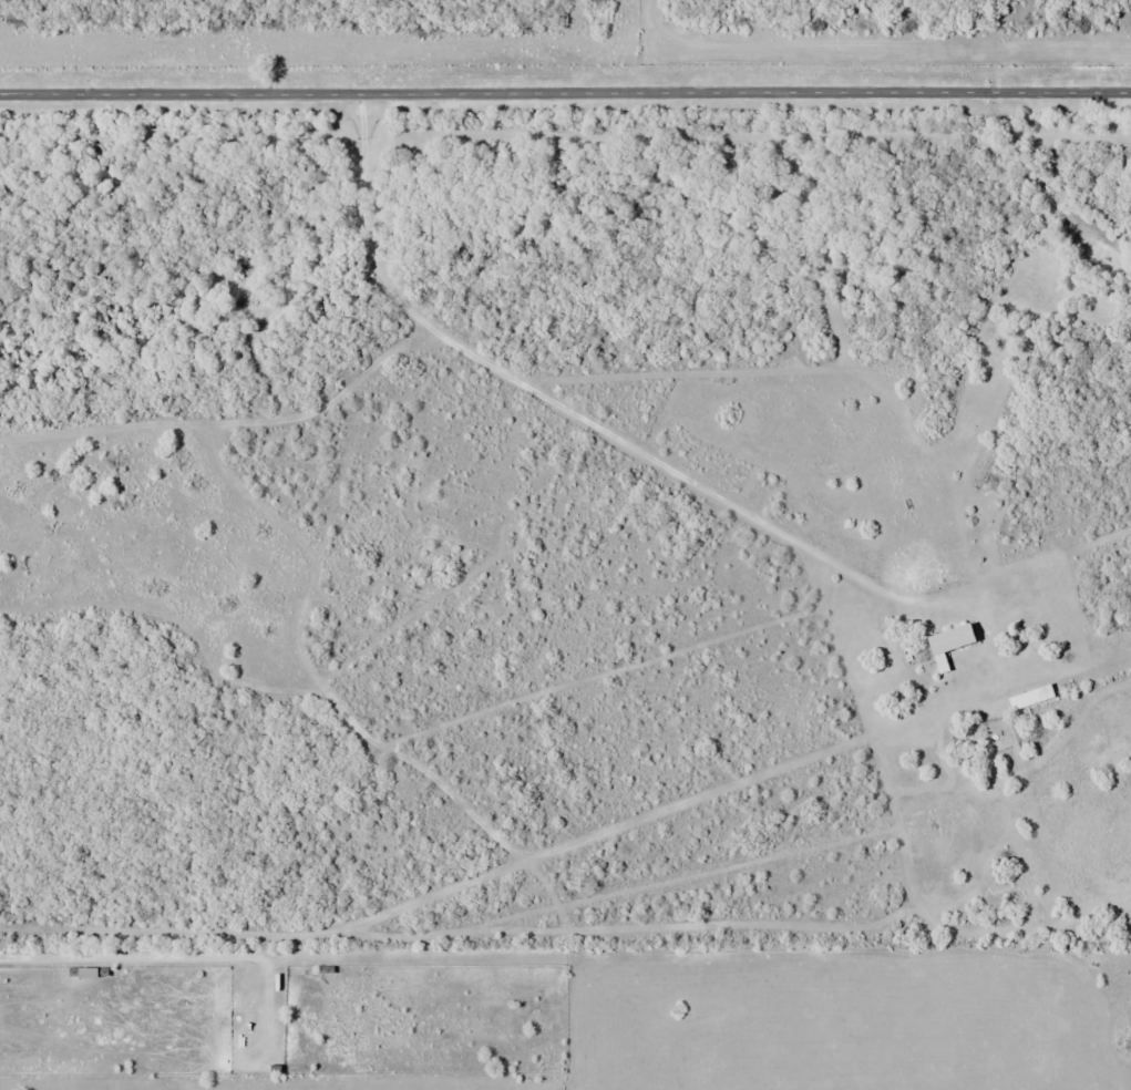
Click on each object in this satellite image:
road: (565, 93)
building: (948, 638)
building: (93, 973)

